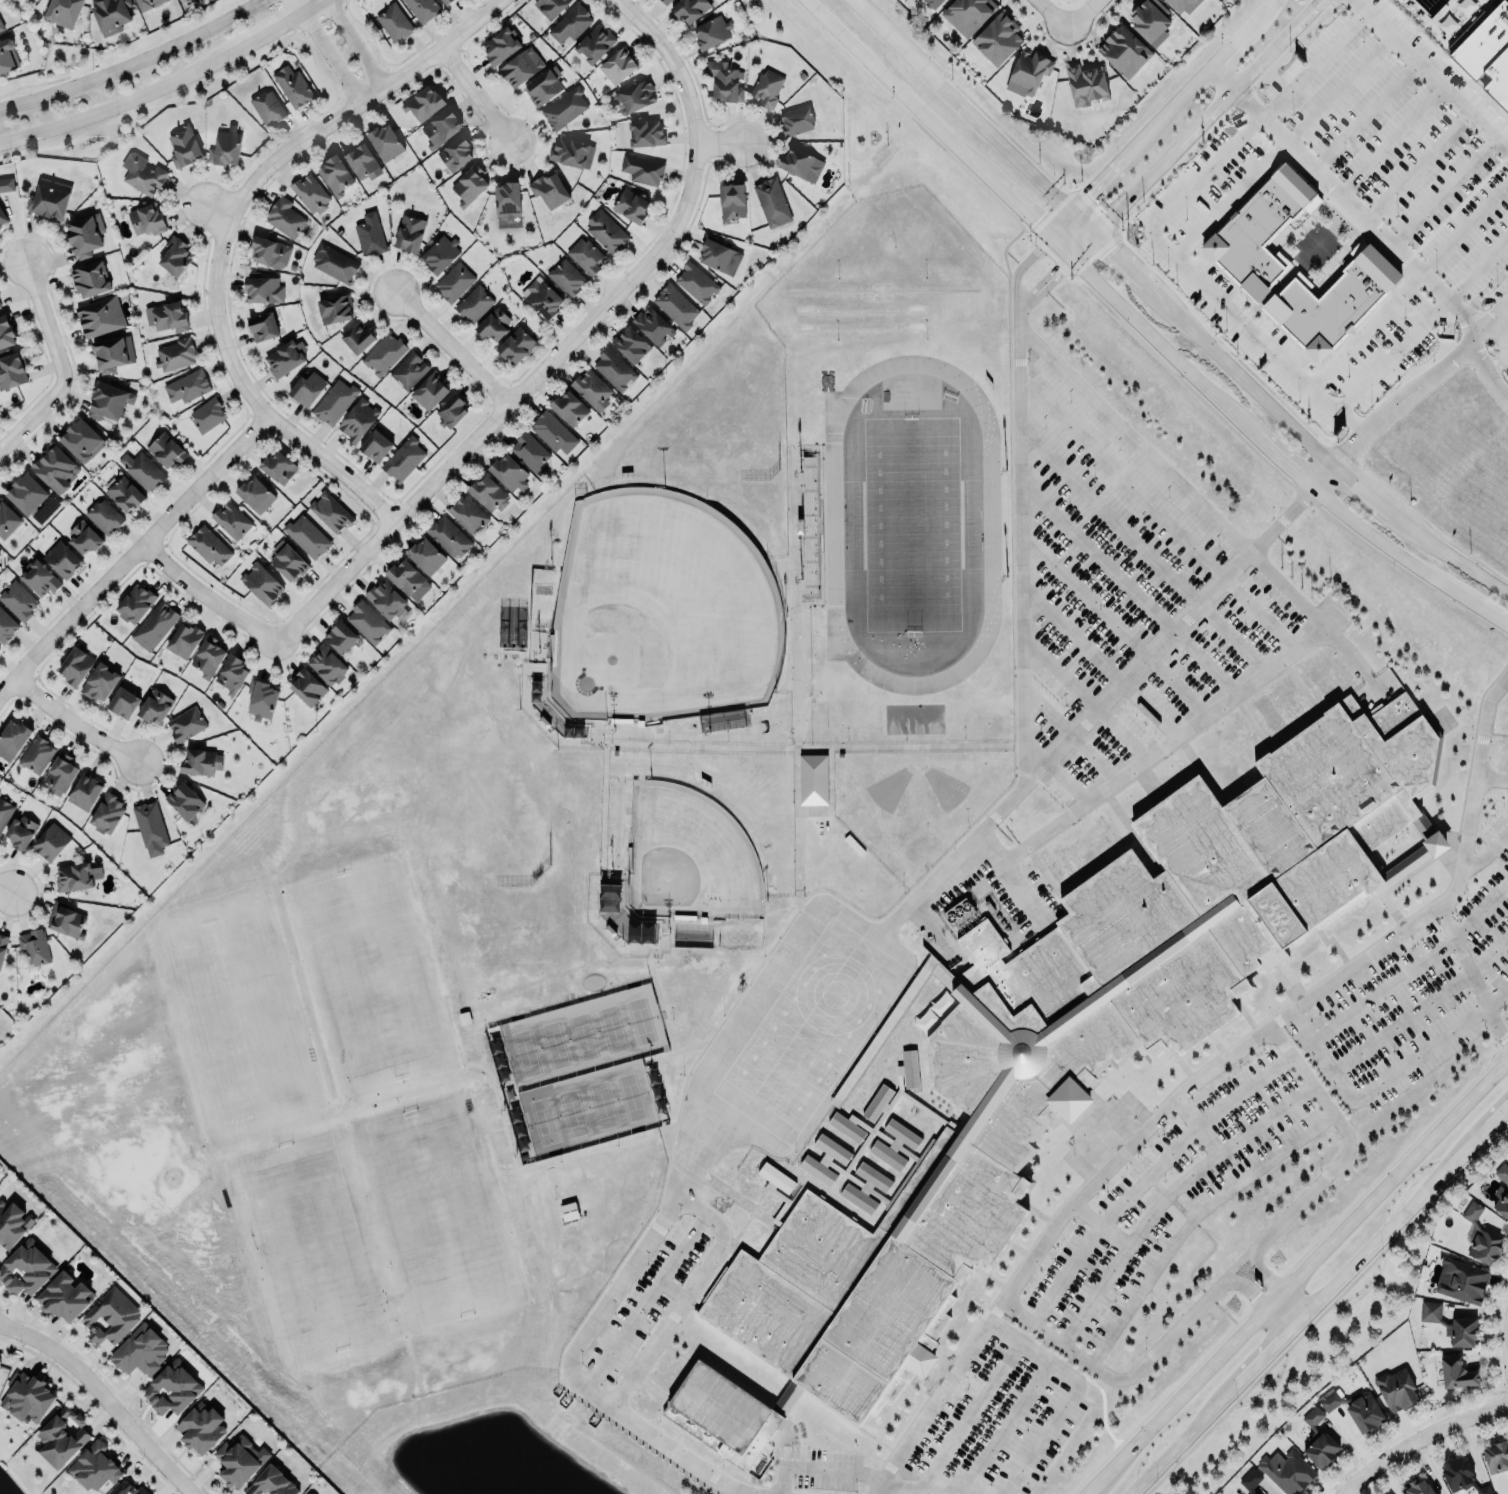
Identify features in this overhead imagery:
road: (327, 0)
building: (1164, 0)
building: (14, 1)
building: (446, 1)
building: (665, 1)
building: (934, 3)
building: (149, 4)
building: (1184, 5)
building: (550, 7)
building: (423, 9)
building: (690, 9)
building: (64, 12)
building: (969, 14)
building: (112, 15)
road: (1050, 18)
road: (1085, 18)
road: (872, 19)
building: (396, 21)
building: (1152, 21)
building: (571, 24)
road: (284, 25)
building: (0, 29)
building: (713, 31)
road: (837, 33)
building: (997, 39)
road: (355, 44)
building: (595, 44)
building: (502, 46)
building: (1487, 48)
building: (1124, 51)
road: (326, 52)
building: (8, 56)
road: (133, 62)
building: (618, 66)
building: (521, 67)
road: (1207, 68)
building: (1028, 73)
road: (1430, 74)
road: (1404, 76)
building: (1348, 78)
building: (725, 80)
building: (543, 86)
building: (1086, 86)
road: (1292, 86)
building: (293, 87)
building: (768, 88)
road: (478, 95)
building: (633, 97)
road: (122, 100)
building: (1383, 102)
building: (424, 103)
building: (267, 107)
building: (564, 108)
road: (922, 116)
road: (1375, 117)
building: (798, 120)
road: (1307, 125)
road: (1404, 125)
road: (324, 127)
building: (442, 128)
road: (1193, 129)
building: (647, 134)
road: (1342, 136)
road: (725, 141)
building: (385, 142)
building: (185, 145)
building: (227, 148)
building: (572, 152)
building: (456, 154)
building: (362, 162)
road: (1471, 162)
building: (801, 164)
building: (642, 170)
building: (142, 174)
building: (335, 175)
road: (1436, 178)
building: (6, 184)
building: (470, 185)
road: (1094, 185)
building: (549, 190)
building: (310, 194)
road: (182, 195)
building: (50, 198)
road: (1228, 199)
building: (508, 201)
road: (1345, 201)
building: (732, 202)
building: (773, 202)
road: (1492, 202)
building: (631, 206)
road: (1022, 210)
building: (285, 218)
building: (2, 219)
building: (147, 219)
building: (1258, 226)
building: (607, 231)
building: (409, 233)
building: (370, 234)
building: (86, 235)
road: (1499, 246)
road: (1112, 251)
building: (271, 252)
building: (441, 254)
building: (175, 256)
building: (585, 256)
building: (720, 257)
building: (335, 263)
road: (1017, 270)
road: (1188, 273)
building: (566, 277)
road: (1468, 278)
building: (91, 279)
building: (455, 282)
building: (698, 282)
road: (1042, 286)
building: (263, 290)
building: (1334, 297)
building: (544, 298)
building: (474, 304)
building: (0, 306)
building: (676, 306)
building: (335, 309)
building: (102, 316)
building: (167, 317)
building: (494, 324)
building: (654, 326)
road: (1489, 327)
building: (263, 328)
road: (1364, 329)
road: (1148, 332)
building: (6, 333)
building: (356, 335)
road: (568, 345)
building: (632, 345)
building: (517, 346)
road: (453, 349)
building: (114, 353)
building: (385, 354)
building: (174, 355)
building: (285, 358)
road: (1497, 360)
road: (55, 363)
road: (1383, 363)
building: (615, 369)
building: (12, 370)
building: (409, 371)
road: (1425, 382)
building: (186, 387)
building: (308, 388)
building: (593, 390)
building: (430, 392)
building: (110, 402)
building: (334, 402)
building: (569, 408)
building: (451, 412)
building: (207, 415)
building: (359, 420)
road: (284, 426)
building: (552, 431)
building: (83, 441)
building: (376, 446)
road: (1267, 448)
building: (166, 450)
building: (531, 451)
building: (404, 459)
building: (279, 468)
building: (56, 469)
building: (142, 470)
building: (510, 473)
road: (1321, 476)
road: (1367, 493)
building: (124, 494)
building: (489, 494)
building: (27, 495)
building: (256, 495)
road: (1203, 507)
building: (331, 512)
building: (469, 514)
building: (104, 517)
building: (231, 521)
building: (8, 522)
building: (83, 537)
building: (307, 537)
building: (449, 537)
road: (1379, 540)
building: (210, 546)
road: (133, 552)
road: (1018, 552)
building: (426, 556)
road: (1096, 557)
road: (1455, 557)
building: (62, 559)
building: (287, 562)
building: (405, 576)
building: (39, 579)
building: (261, 584)
road: (1084, 594)
road: (205, 595)
building: (19, 601)
building: (387, 601)
building: (134, 602)
road: (1480, 606)
road: (1259, 616)
building: (368, 623)
building: (154, 625)
building: (6, 626)
building: (340, 637)
building: (183, 640)
building: (208, 655)
building: (76, 664)
building: (327, 667)
building: (232, 672)
building: (1317, 679)
building: (99, 680)
building: (308, 688)
building: (261, 698)
building: (122, 700)
building: (155, 706)
building: (1278, 706)
road: (74, 722)
building: (182, 723)
building: (12, 737)
road: (1162, 746)
building: (36, 755)
building: (198, 759)
building: (60, 772)
building: (813, 779)
building: (84, 791)
building: (185, 801)
building: (5, 811)
building: (107, 812)
building: (150, 827)
building: (21, 831)
building: (46, 841)
building: (1085, 841)
road: (1486, 853)
road: (1461, 866)
building: (71, 877)
road: (1011, 882)
road: (5, 888)
building: (612, 908)
building: (66, 919)
building: (34, 946)
building: (2, 948)
road: (1413, 969)
road: (837, 986)
road: (1498, 999)
road: (1422, 1007)
building: (935, 1012)
building: (1064, 1055)
building: (909, 1069)
road: (1375, 1086)
road: (1194, 1126)
road: (1482, 1130)
road: (1348, 1139)
building: (895, 1144)
building: (858, 1152)
road: (1212, 1157)
building: (825, 1159)
road: (1115, 1159)
road: (1148, 1175)
building: (866, 1188)
building: (771, 1190)
building: (1502, 1190)
building: (12, 1223)
building: (1481, 1237)
road: (1376, 1239)
road: (1236, 1262)
road: (1116, 1265)
road: (1308, 1265)
building: (26, 1267)
road: (1259, 1271)
building: (1461, 1279)
road: (1244, 1286)
road: (655, 1288)
road: (671, 1291)
building: (65, 1298)
road: (1289, 1307)
road: (677, 1309)
road: (1281, 1315)
building: (110, 1316)
building: (1450, 1323)
building: (139, 1350)
road: (1257, 1361)
building: (1452, 1371)
road: (1117, 1378)
building: (172, 1387)
building: (1396, 1389)
building: (27, 1396)
road: (105, 1397)
building: (1355, 1408)
road: (970, 1414)
building: (201, 1427)
road: (1007, 1427)
building: (62, 1437)
road: (1418, 1437)
building: (1318, 1439)
road: (1036, 1443)
road: (1173, 1447)
building: (1496, 1456)
building: (238, 1460)
building: (94, 1467)
road: (820, 1469)
building: (1287, 1471)
building: (1461, 1475)
building: (1250, 1479)
building: (271, 1482)
road: (1098, 1482)
building: (1417, 1486)
building: (127, 1489)
building: (309, 1493)
building: (1257, 1493)

